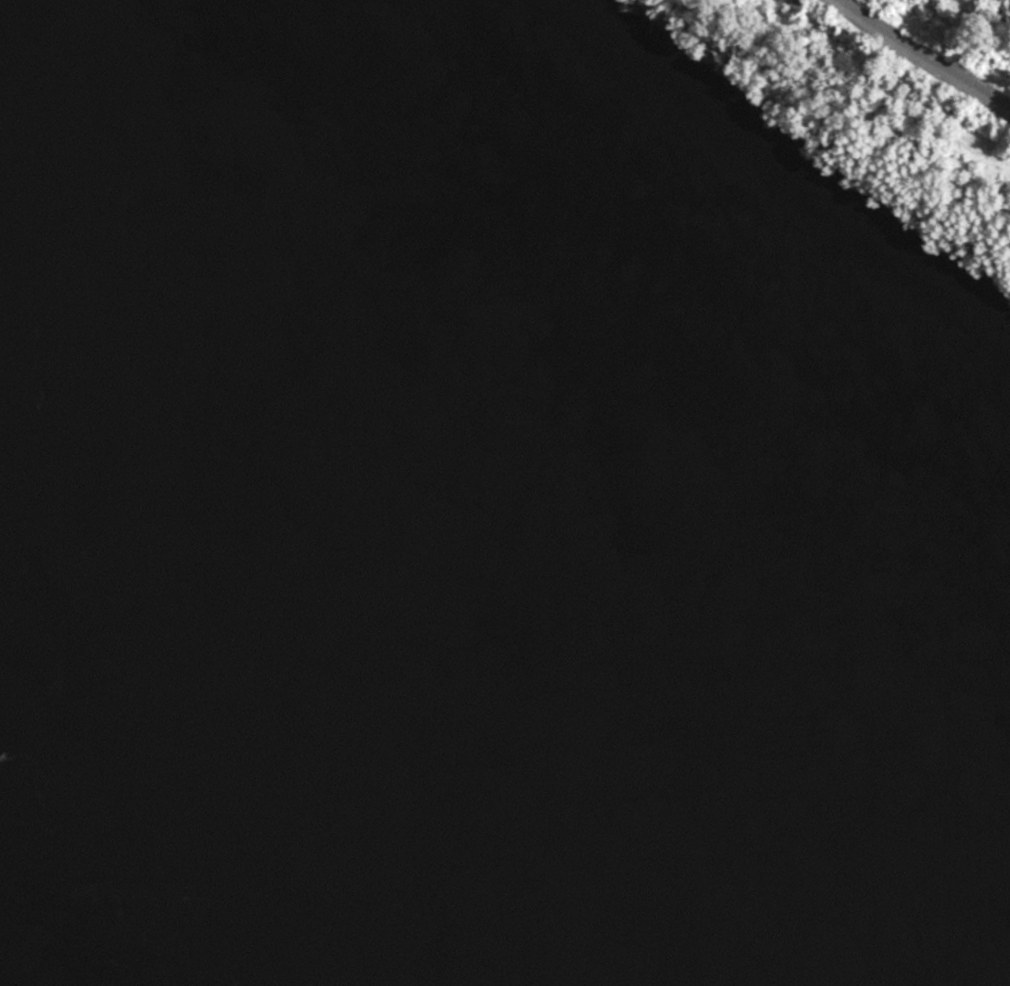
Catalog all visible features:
river: (203, 754)

